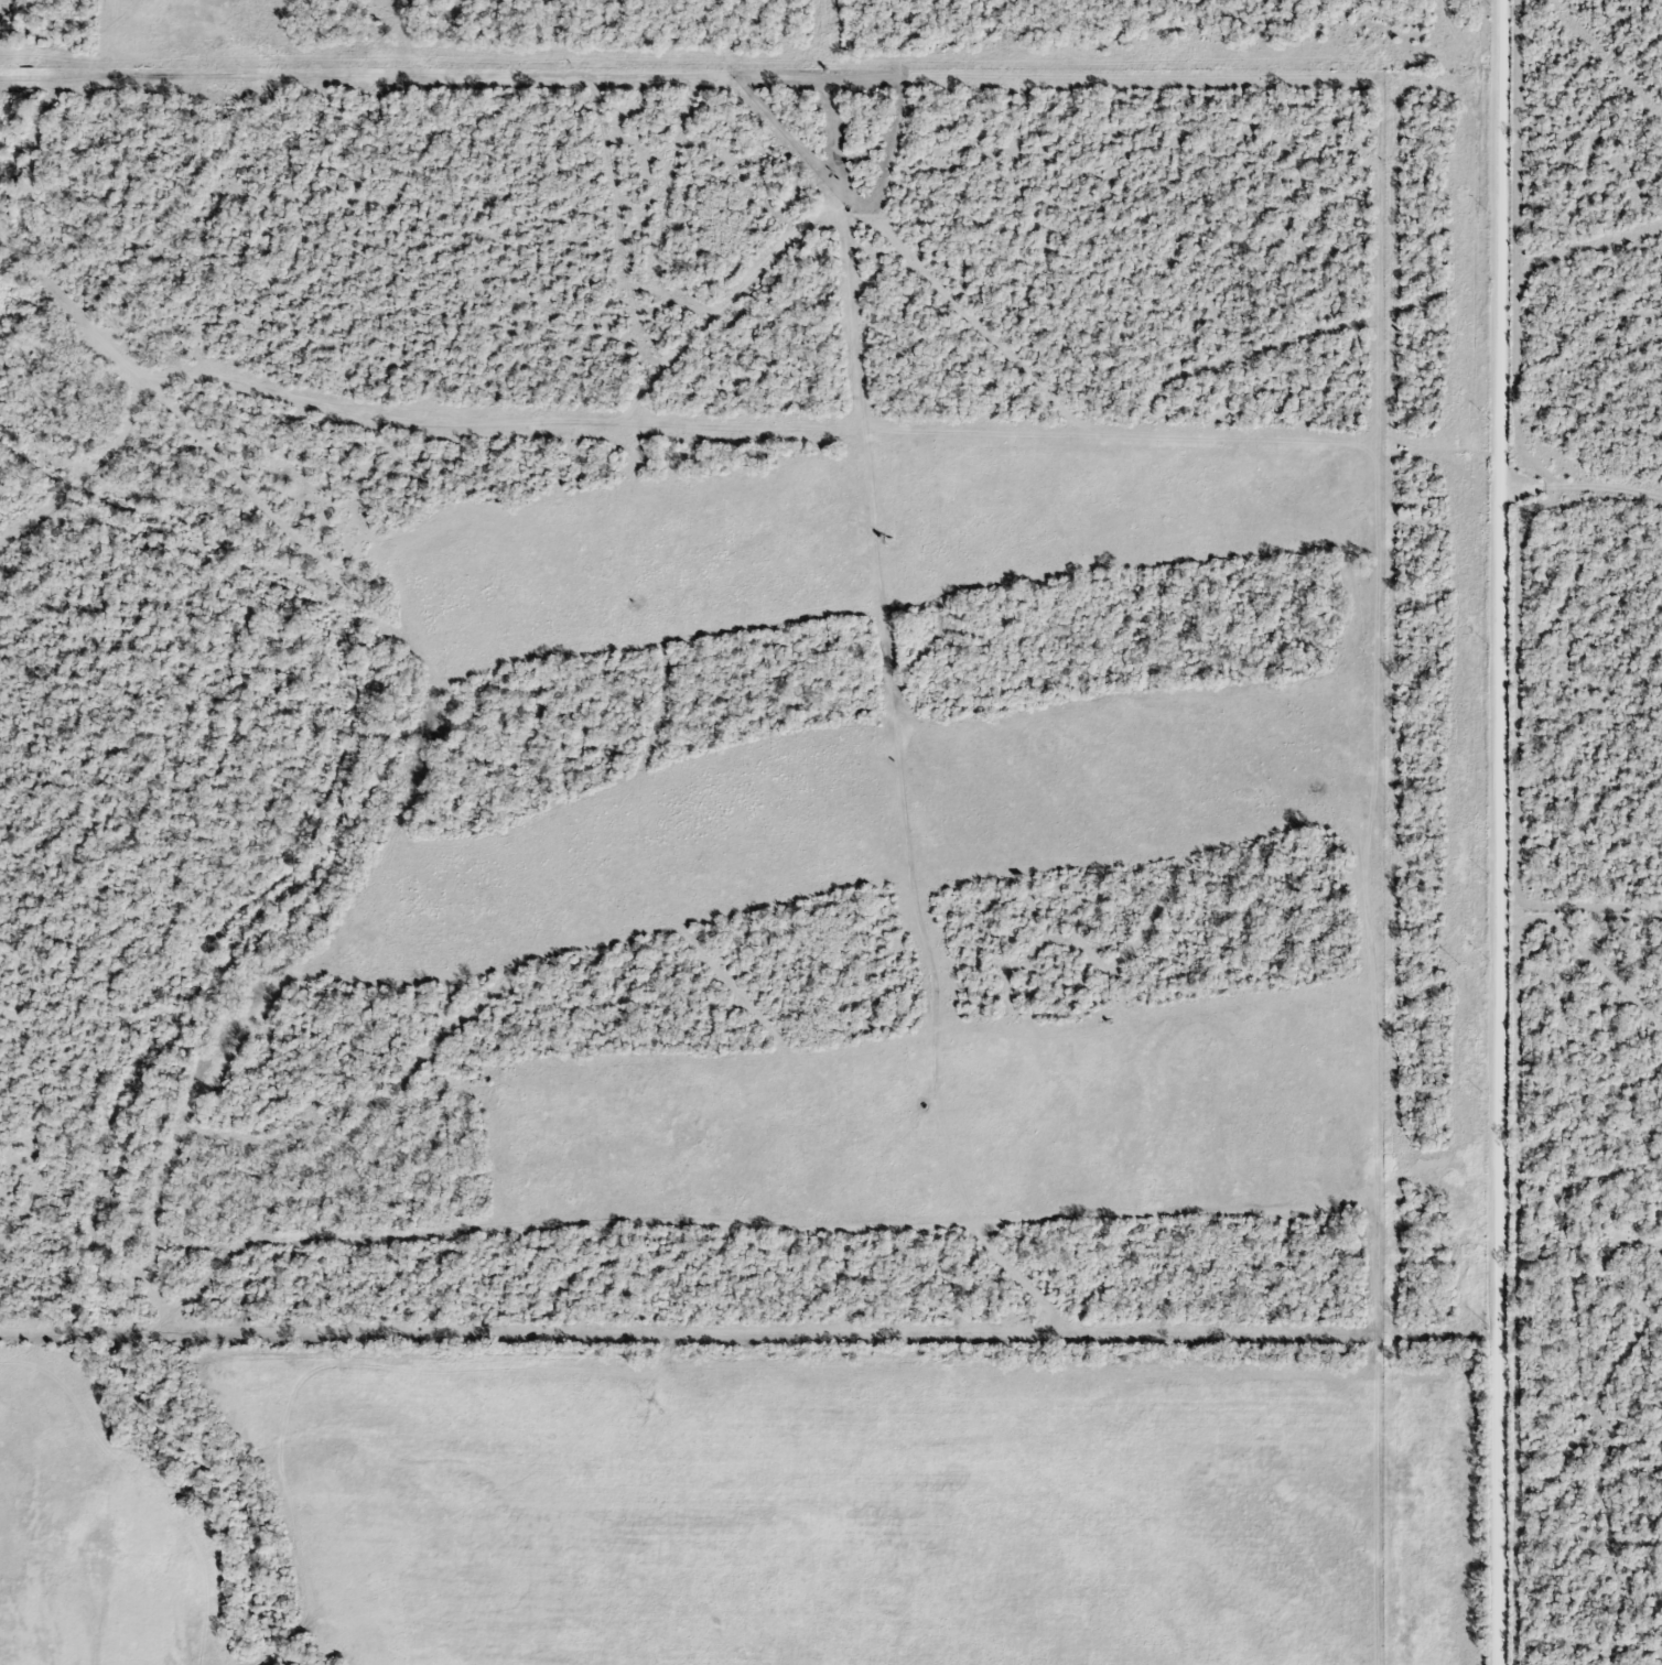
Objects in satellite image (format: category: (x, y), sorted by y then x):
road: (1500, 832)

